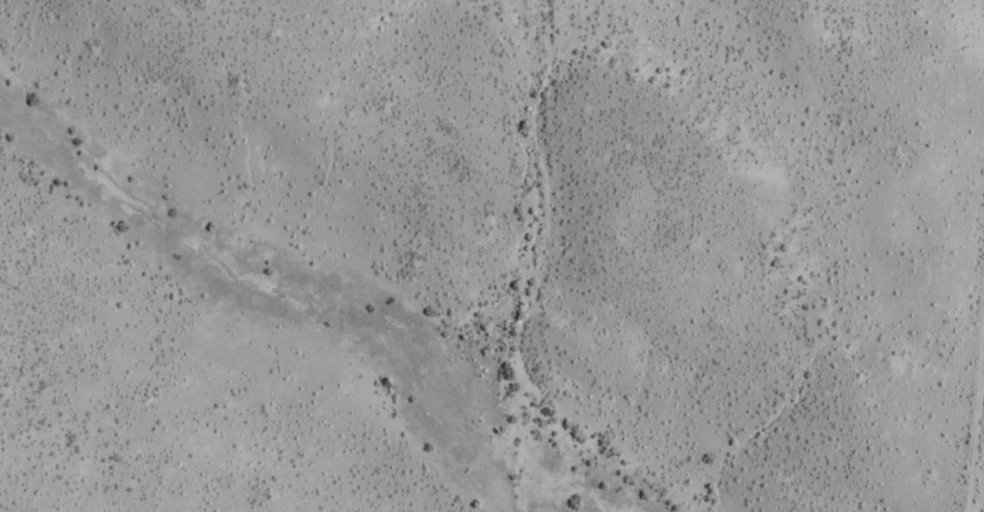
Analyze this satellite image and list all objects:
road: (542, 255)
road: (939, 256)

